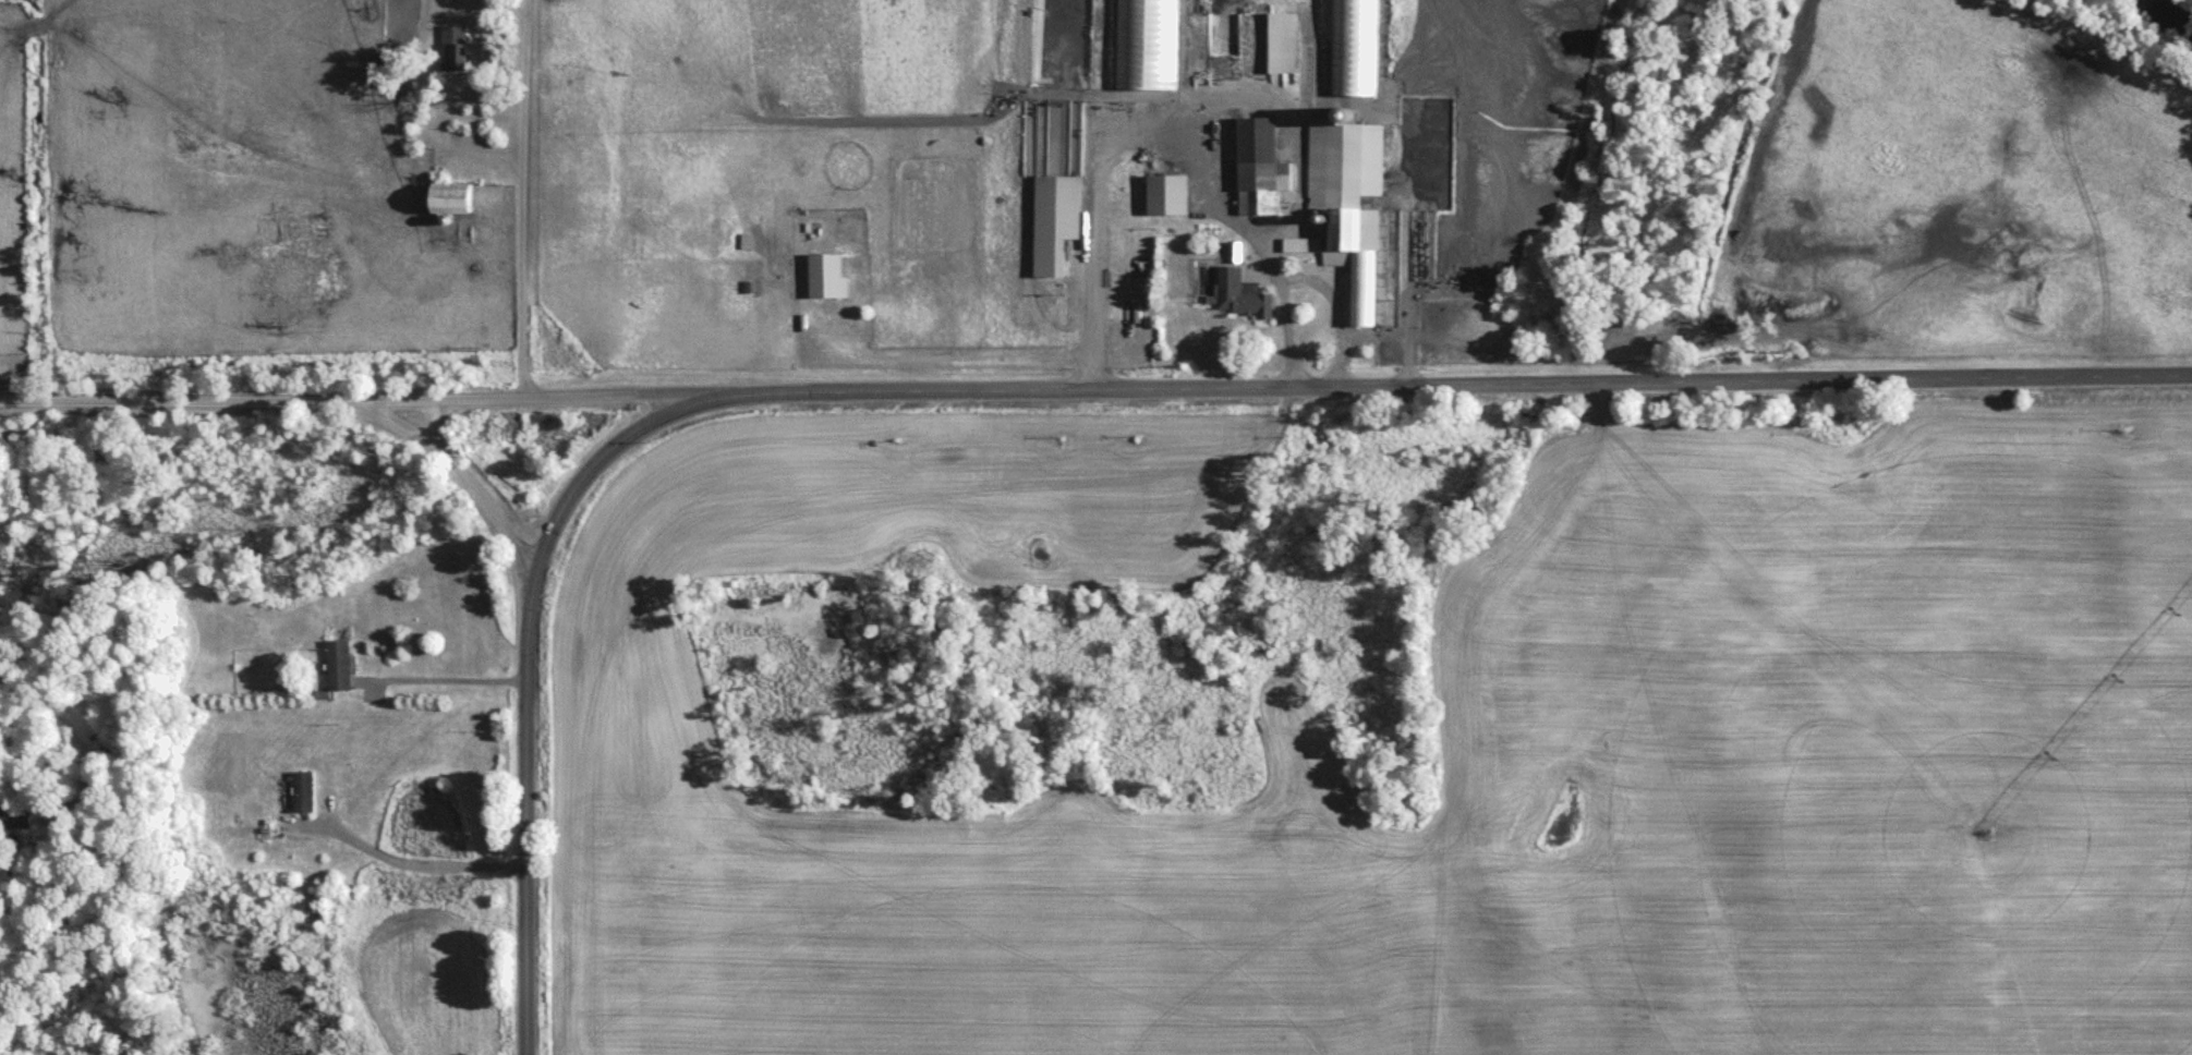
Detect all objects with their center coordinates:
river: (2166, 11)
building: (1153, 45)
building: (1286, 45)
building: (457, 49)
building: (1359, 49)
road: (1162, 133)
building: (1263, 169)
building: (1172, 196)
building: (1352, 199)
building: (456, 201)
road: (519, 206)
building: (1059, 223)
building: (1306, 246)
building: (1238, 253)
building: (1246, 296)
road: (1335, 307)
road: (1472, 385)
road: (553, 397)
road: (177, 401)
road: (606, 451)
road: (461, 475)
building: (343, 668)
road: (449, 679)
building: (306, 795)
road: (526, 821)
building: (19, 825)
road: (420, 862)

